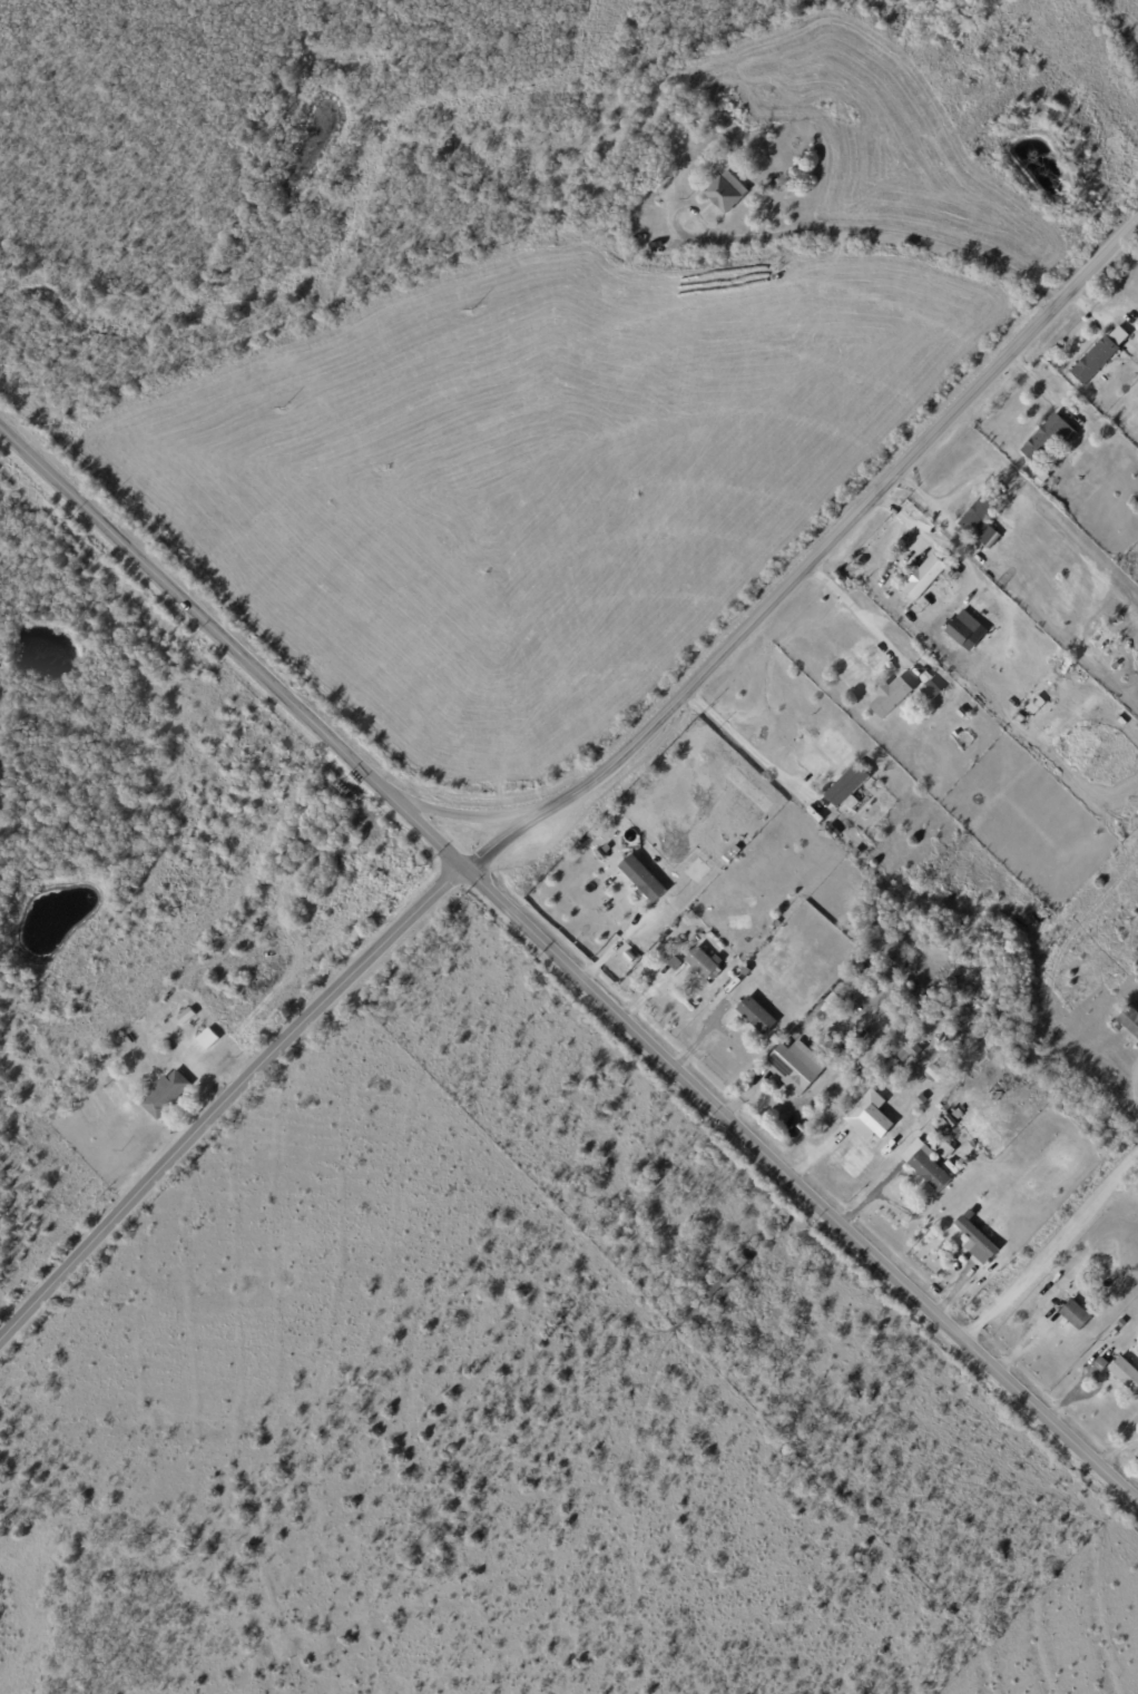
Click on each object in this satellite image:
building: (674, 130)
building: (715, 138)
building: (776, 184)
building: (729, 192)
road: (895, 234)
building: (1137, 329)
building: (1100, 355)
building: (1050, 438)
building: (1043, 478)
road: (935, 506)
building: (981, 513)
building: (992, 542)
road: (813, 560)
building: (931, 574)
road: (856, 611)
building: (960, 631)
building: (1107, 640)
road: (232, 650)
building: (1063, 665)
building: (1053, 682)
building: (932, 691)
building: (892, 697)
building: (1038, 704)
building: (963, 713)
building: (1021, 718)
building: (958, 734)
road: (742, 744)
building: (847, 786)
road: (463, 816)
building: (834, 832)
building: (297, 845)
building: (604, 854)
building: (644, 878)
building: (703, 915)
building: (666, 937)
building: (660, 956)
building: (702, 962)
building: (676, 963)
building: (746, 971)
building: (867, 981)
building: (905, 990)
building: (850, 1002)
building: (178, 1008)
building: (757, 1015)
building: (187, 1016)
building: (1130, 1019)
building: (934, 1037)
building: (209, 1038)
building: (912, 1046)
building: (853, 1048)
building: (167, 1049)
building: (794, 1068)
building: (935, 1073)
building: (165, 1094)
building: (998, 1096)
road: (226, 1099)
building: (923, 1099)
building: (958, 1113)
building: (963, 1119)
building: (877, 1120)
building: (952, 1120)
building: (941, 1125)
building: (974, 1144)
building: (948, 1150)
building: (931, 1168)
road: (801, 1186)
building: (979, 1241)
road: (1051, 1246)
building: (727, 1276)
building: (1092, 1295)
building: (1072, 1312)
building: (1115, 1332)
building: (1126, 1373)
building: (1137, 1420)

